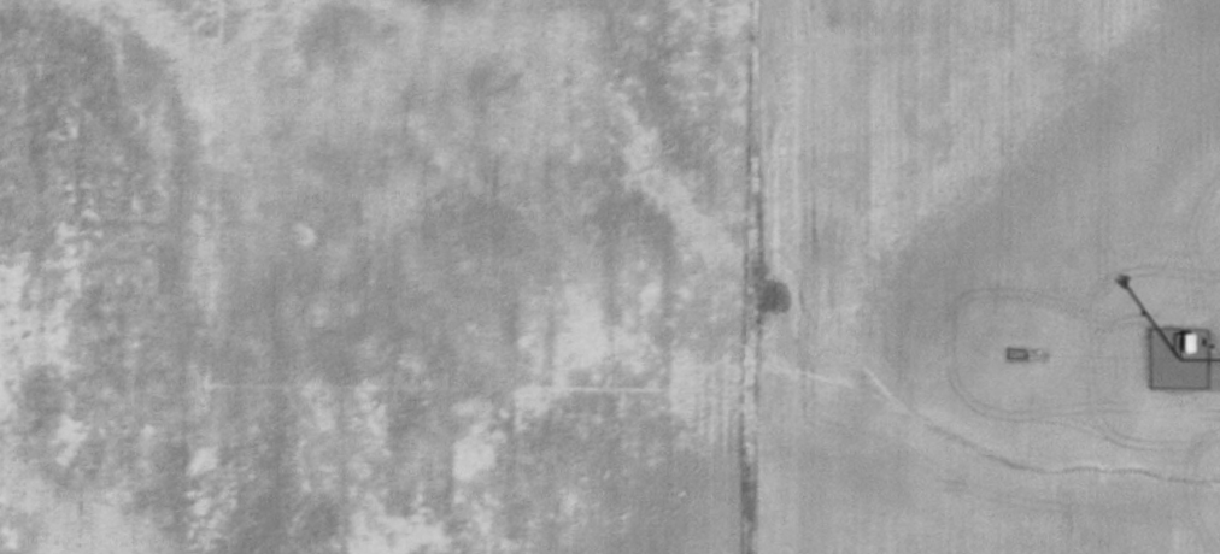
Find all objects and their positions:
building: (1189, 340)

